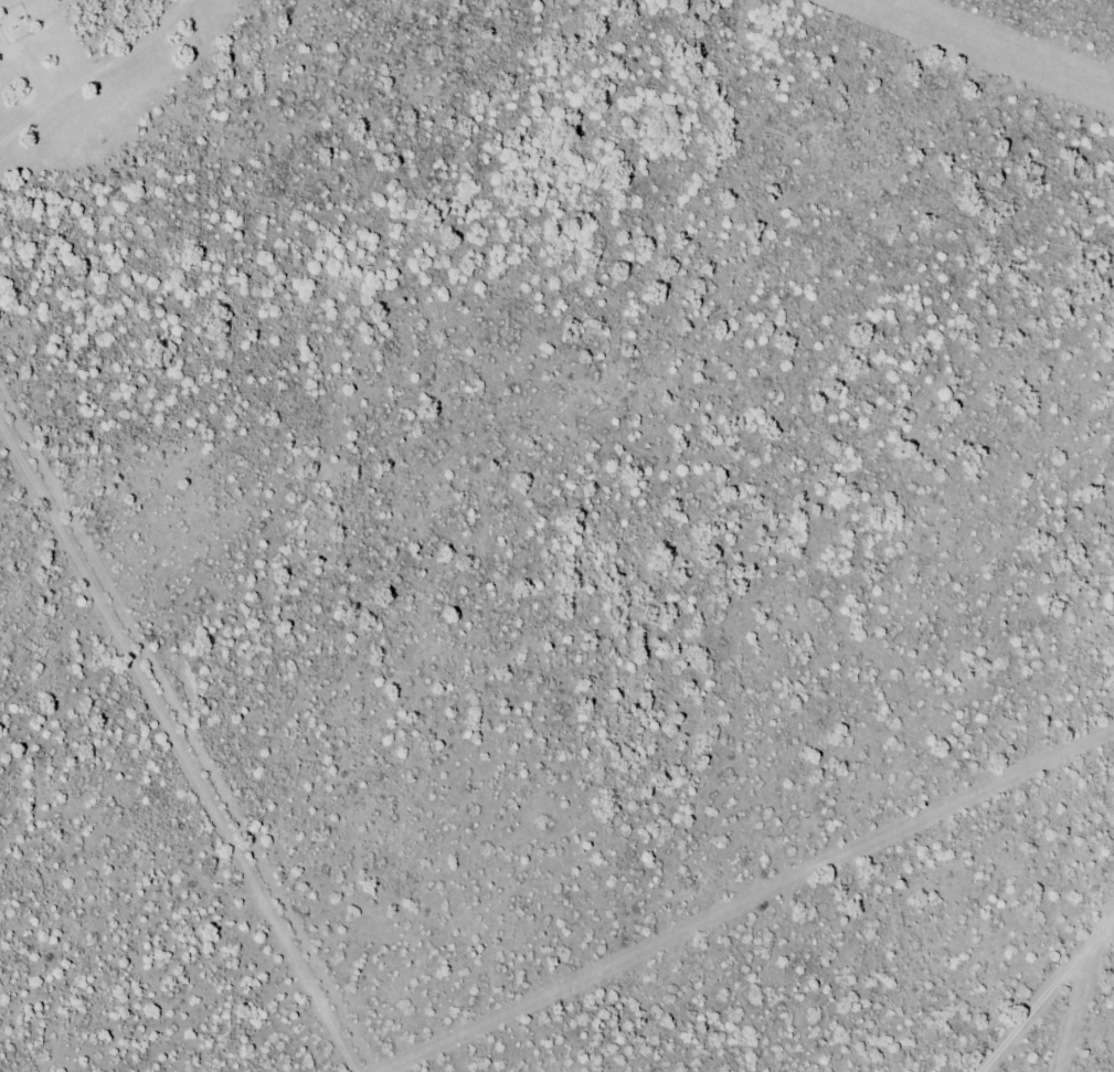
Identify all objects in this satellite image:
road: (1049, 994)

